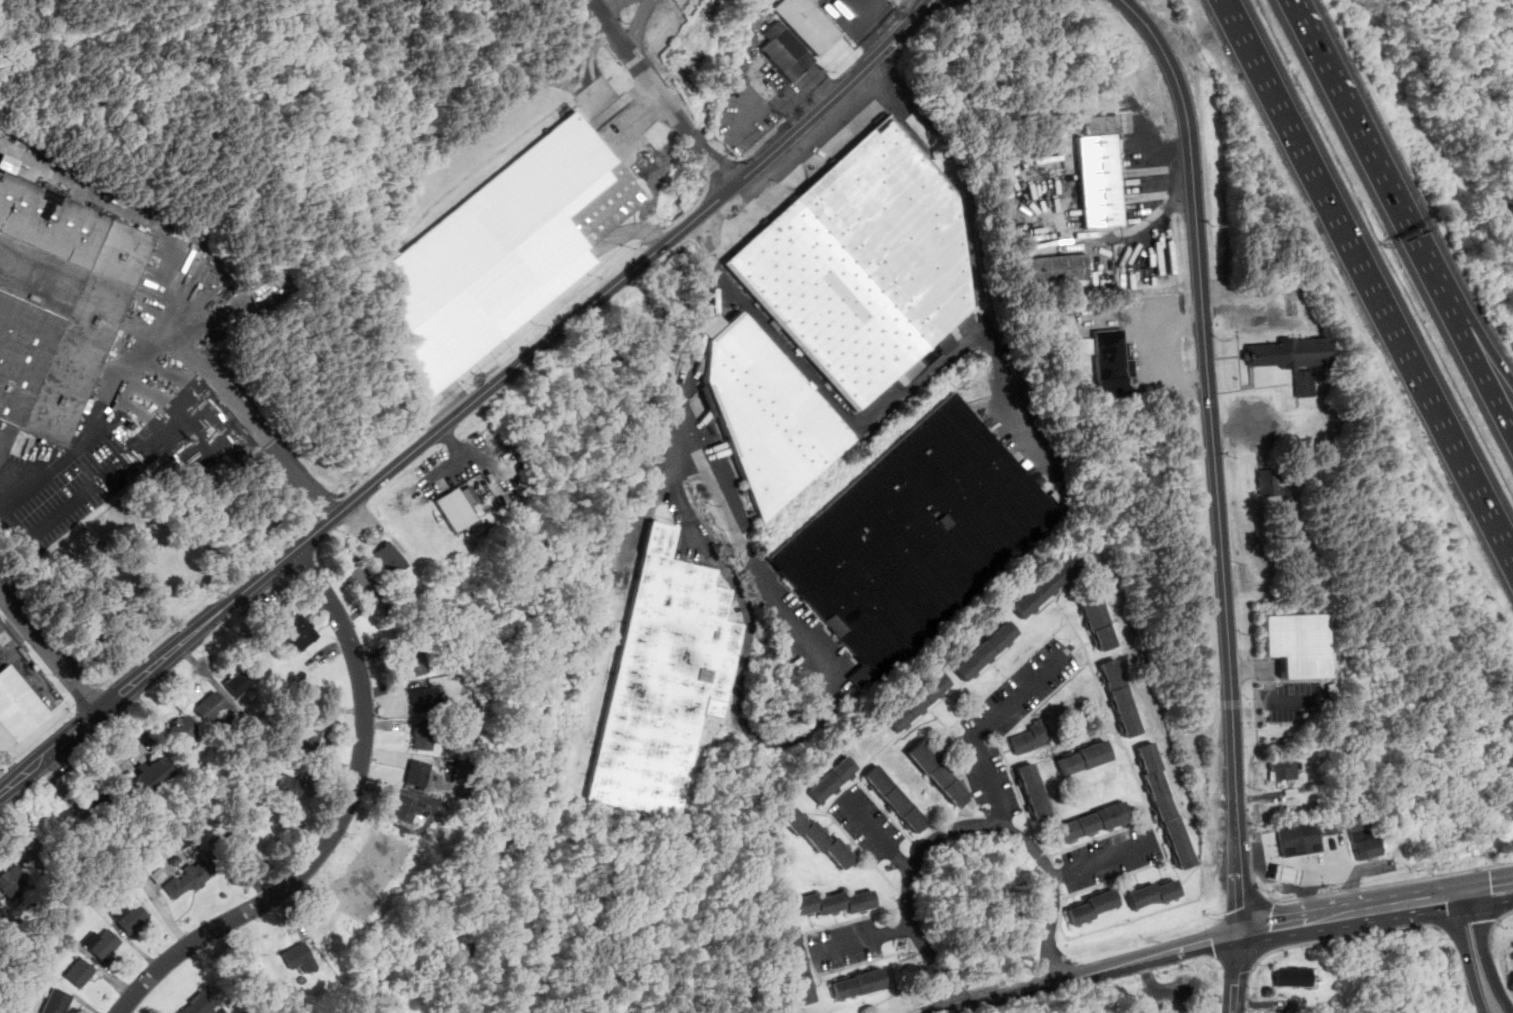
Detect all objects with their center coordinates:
road: (613, 4)
building: (810, 23)
road: (639, 24)
building: (788, 54)
road: (643, 67)
road: (785, 107)
road: (700, 143)
road: (1363, 143)
building: (7, 163)
road: (720, 170)
building: (1101, 173)
road: (116, 206)
building: (507, 252)
road: (980, 263)
building: (865, 264)
road: (706, 267)
building: (1059, 270)
road: (1369, 278)
building: (58, 304)
road: (1475, 335)
building: (1089, 347)
road: (1173, 353)
road: (1475, 359)
building: (1293, 360)
building: (1113, 366)
road: (212, 375)
building: (1077, 375)
building: (1090, 384)
road: (472, 404)
building: (769, 414)
road: (108, 415)
road: (1212, 419)
building: (24, 445)
building: (1306, 475)
building: (1269, 481)
road: (301, 482)
road: (8, 484)
building: (458, 509)
building: (916, 538)
building: (392, 559)
building: (362, 578)
building: (1046, 590)
building: (1099, 623)
building: (297, 635)
building: (1297, 643)
road: (155, 648)
road: (50, 650)
building: (987, 652)
building: (414, 665)
building: (241, 684)
building: (665, 684)
road: (98, 696)
building: (1121, 699)
building: (426, 700)
building: (919, 702)
building: (211, 707)
building: (16, 708)
road: (746, 718)
road: (984, 728)
building: (186, 732)
building: (311, 736)
building: (1031, 738)
building: (422, 740)
building: (1085, 759)
road: (9, 763)
building: (1285, 771)
building: (418, 774)
building: (940, 774)
building: (148, 779)
building: (833, 779)
building: (289, 789)
building: (1302, 790)
building: (1034, 792)
building: (896, 799)
building: (97, 807)
building: (1167, 808)
building: (1321, 808)
building: (409, 811)
road: (340, 822)
road: (963, 824)
building: (1094, 824)
road: (882, 834)
building: (820, 838)
building: (1365, 838)
building: (1301, 839)
gas station: (1301, 839)
building: (236, 842)
building: (34, 856)
building: (175, 860)
road: (1102, 860)
road: (1296, 863)
building: (1288, 873)
road: (1344, 873)
building: (159, 875)
building: (189, 878)
road: (1485, 879)
building: (12, 882)
building: (1157, 894)
road: (1239, 895)
traffic signals: (1462, 895)
road: (1487, 900)
building: (0, 902)
building: (0, 903)
building: (835, 903)
road: (1408, 903)
building: (1093, 909)
road: (1337, 915)
building: (130, 918)
road: (1279, 925)
building: (64, 928)
traffic signals: (1240, 933)
road: (867, 939)
building: (103, 945)
road: (1192, 945)
road: (1485, 953)
road: (1467, 954)
building: (298, 956)
building: (798, 965)
building: (79, 972)
road: (1237, 973)
building: (1294, 977)
road: (1046, 984)
building: (859, 985)
building: (57, 1002)
building: (201, 1002)
building: (8, 1003)
road: (1261, 1004)

